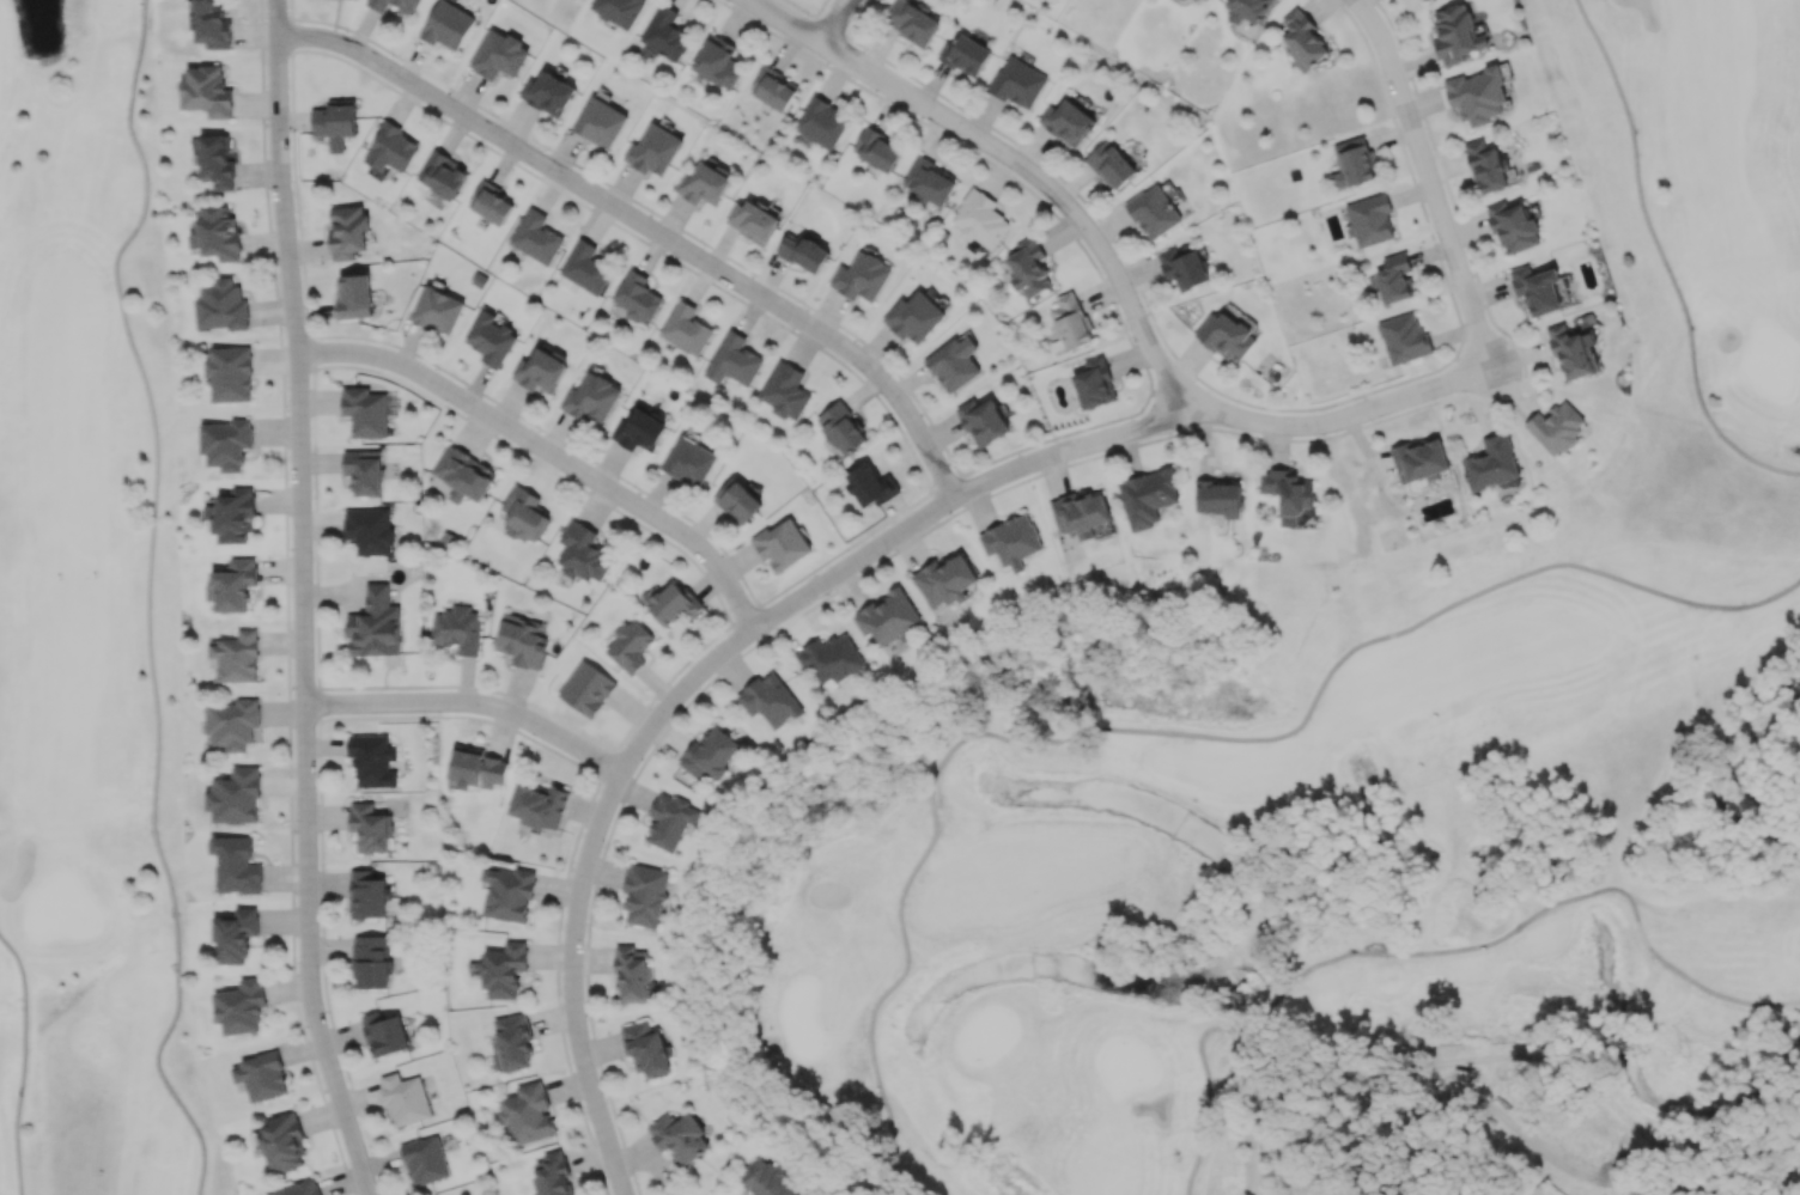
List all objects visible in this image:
building: (395, 5)
building: (1247, 10)
building: (618, 11)
road: (835, 20)
building: (911, 22)
building: (212, 24)
building: (448, 25)
building: (665, 33)
building: (1458, 33)
building: (1302, 39)
building: (499, 54)
building: (965, 55)
building: (717, 60)
building: (1017, 83)
building: (773, 89)
building: (206, 91)
building: (548, 93)
building: (1478, 96)
building: (600, 122)
building: (821, 122)
building: (1068, 122)
building: (335, 123)
building: (389, 147)
building: (877, 148)
building: (653, 150)
building: (215, 161)
road: (1015, 161)
building: (1354, 161)
building: (1111, 165)
building: (1486, 166)
building: (442, 175)
road: (1433, 178)
building: (929, 181)
building: (704, 184)
building: (491, 202)
building: (1153, 211)
building: (980, 219)
building: (1370, 219)
building: (752, 221)
building: (1514, 227)
road: (646, 228)
building: (347, 231)
building: (217, 233)
building: (536, 236)
building: (804, 252)
road: (1664, 261)
building: (585, 267)
building: (1184, 267)
building: (1028, 268)
building: (862, 276)
building: (1393, 278)
building: (1537, 288)
building: (354, 295)
building: (637, 297)
building: (221, 305)
building: (437, 310)
building: (914, 316)
building: (1071, 321)
building: (686, 328)
building: (1227, 336)
building: (491, 337)
building: (1404, 337)
building: (1573, 352)
building: (734, 360)
building: (954, 362)
building: (540, 370)
road: (1495, 372)
building: (229, 373)
building: (1094, 383)
building: (785, 390)
building: (591, 397)
building: (365, 410)
building: (984, 421)
building: (1556, 427)
building: (841, 428)
building: (640, 431)
building: (226, 443)
road: (547, 458)
building: (1421, 459)
building: (688, 461)
building: (1491, 463)
building: (364, 470)
building: (463, 474)
building: (870, 484)
building: (1288, 493)
building: (1148, 496)
building: (1218, 498)
building: (737, 500)
building: (1080, 513)
building: (524, 514)
building: (232, 516)
building: (369, 530)
building: (1011, 541)
building: (782, 543)
building: (583, 553)
building: (945, 580)
building: (232, 584)
road: (823, 585)
road: (151, 598)
road: (302, 600)
building: (670, 602)
building: (887, 616)
building: (375, 624)
park: (90, 626)
building: (457, 629)
building: (521, 640)
building: (630, 646)
building: (236, 657)
building: (829, 658)
building: (588, 689)
building: (770, 700)
road: (470, 712)
building: (233, 723)
road: (1168, 731)
park: (1334, 752)
building: (711, 754)
building: (372, 760)
building: (476, 767)
building: (235, 797)
building: (539, 805)
building: (671, 821)
building: (369, 828)
building: (236, 864)
building: (509, 894)
building: (646, 894)
building: (367, 895)
building: (235, 934)
road: (1437, 951)
building: (370, 961)
building: (504, 969)
building: (633, 971)
building: (241, 1006)
building: (384, 1034)
building: (512, 1043)
building: (1624, 1045)
building: (647, 1048)
power tower: (1685, 1054)
road: (1519, 1059)
road: (25, 1061)
building: (261, 1075)
building: (405, 1098)
road: (1480, 1099)
building: (528, 1112)
theme park: (1539, 1121)
building: (680, 1135)
building: (282, 1142)
building: (425, 1160)
building: (552, 1175)
building: (767, 1178)
road: (1710, 1187)
building: (299, 1188)

